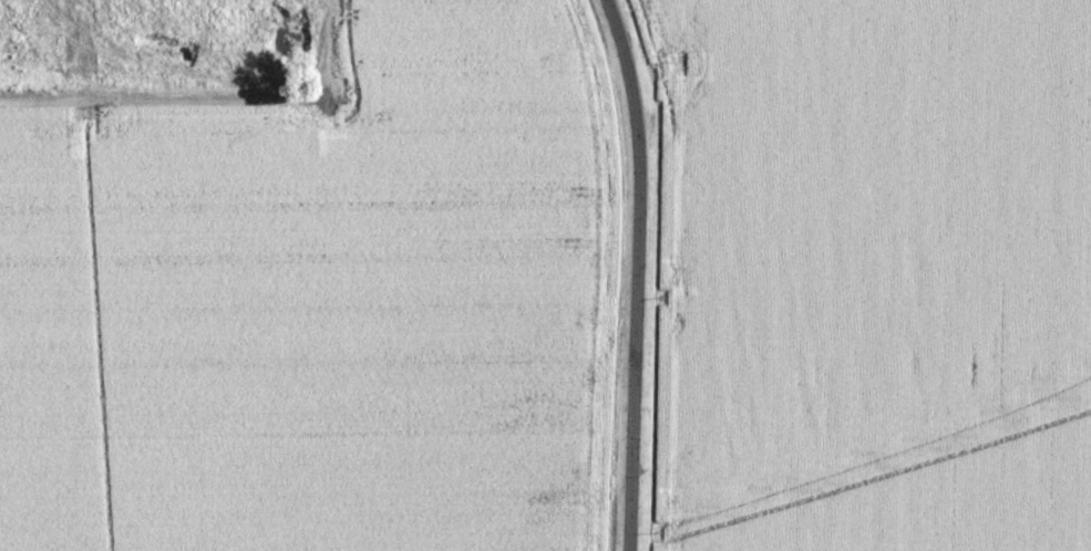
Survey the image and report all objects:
road: (636, 273)

